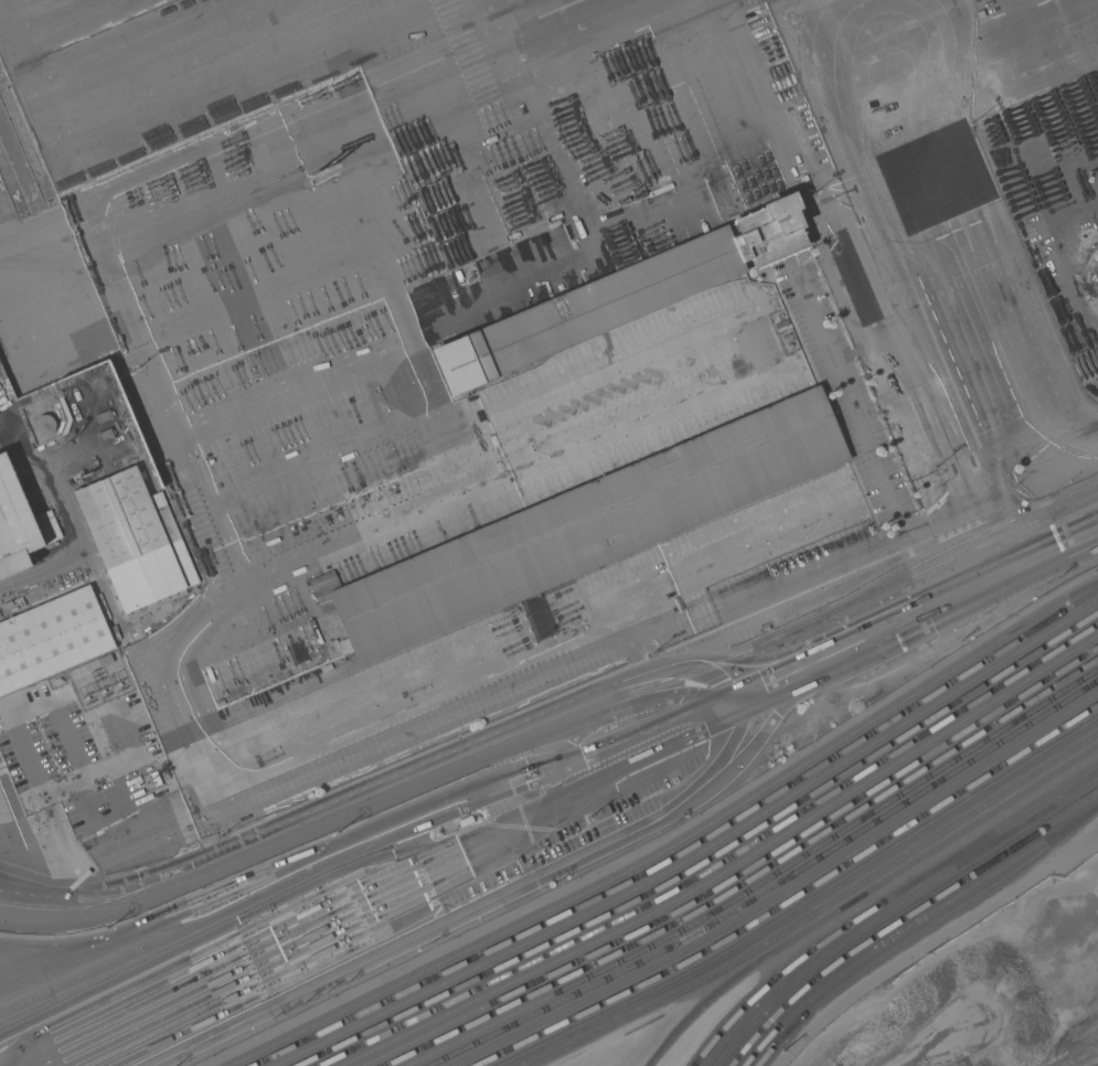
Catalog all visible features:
building: (928, 171)
building: (841, 252)
building: (1095, 264)
building: (857, 291)
building: (1097, 292)
building: (619, 297)
building: (780, 324)
road: (884, 329)
road: (1014, 355)
road: (921, 360)
road: (881, 377)
building: (43, 426)
road: (951, 426)
building: (928, 434)
road: (908, 444)
road: (1009, 446)
building: (936, 478)
road: (990, 511)
building: (21, 522)
building: (587, 526)
road: (947, 531)
building: (135, 542)
railway: (956, 544)
road: (26, 575)
road: (810, 582)
road: (937, 609)
building: (50, 639)
building: (104, 661)
road: (430, 723)
railway: (554, 724)
railway: (1067, 727)
road: (18, 733)
road: (439, 758)
building: (153, 779)
road: (386, 819)
railway: (679, 845)
railway: (977, 850)
railway: (690, 851)
railway: (700, 855)
railway: (710, 861)
railway: (721, 864)
railway: (732, 871)
railway: (740, 873)
railway: (751, 880)
road: (407, 881)
railway: (761, 883)
road: (46, 885)
railway: (772, 889)
railway: (783, 893)
railway: (864, 896)
railway: (795, 898)
road: (484, 902)
railway: (885, 903)
railway: (810, 906)
railway: (895, 908)
railway: (822, 910)
railway: (905, 918)
railway: (913, 926)
railway: (923, 931)

